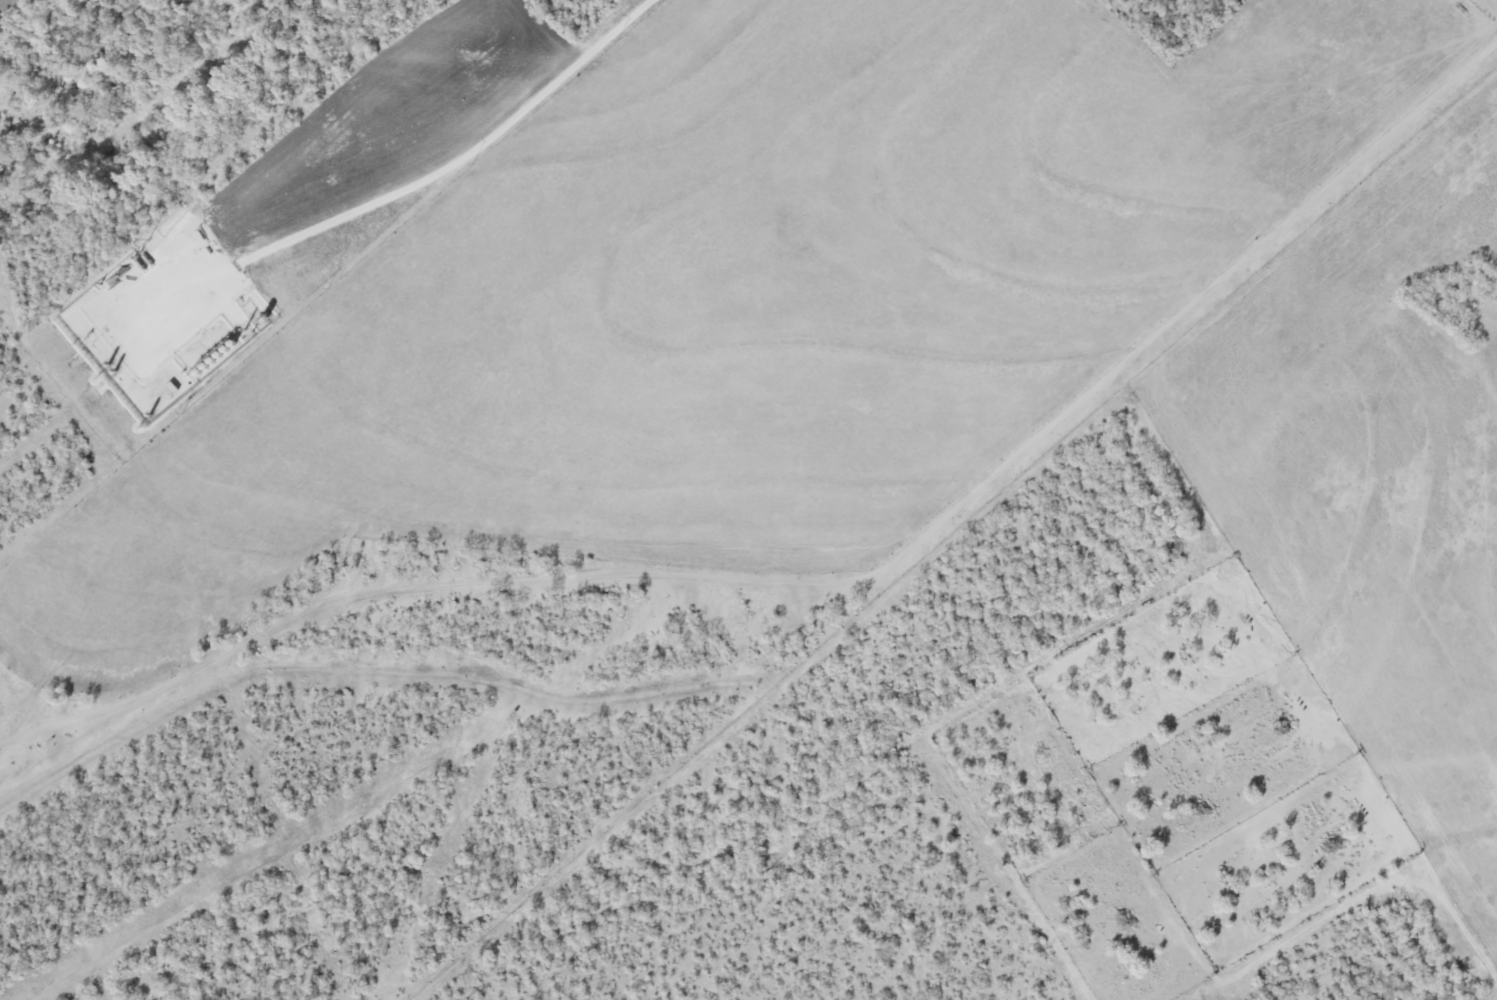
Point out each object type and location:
road: (451, 177)
road: (828, 582)

